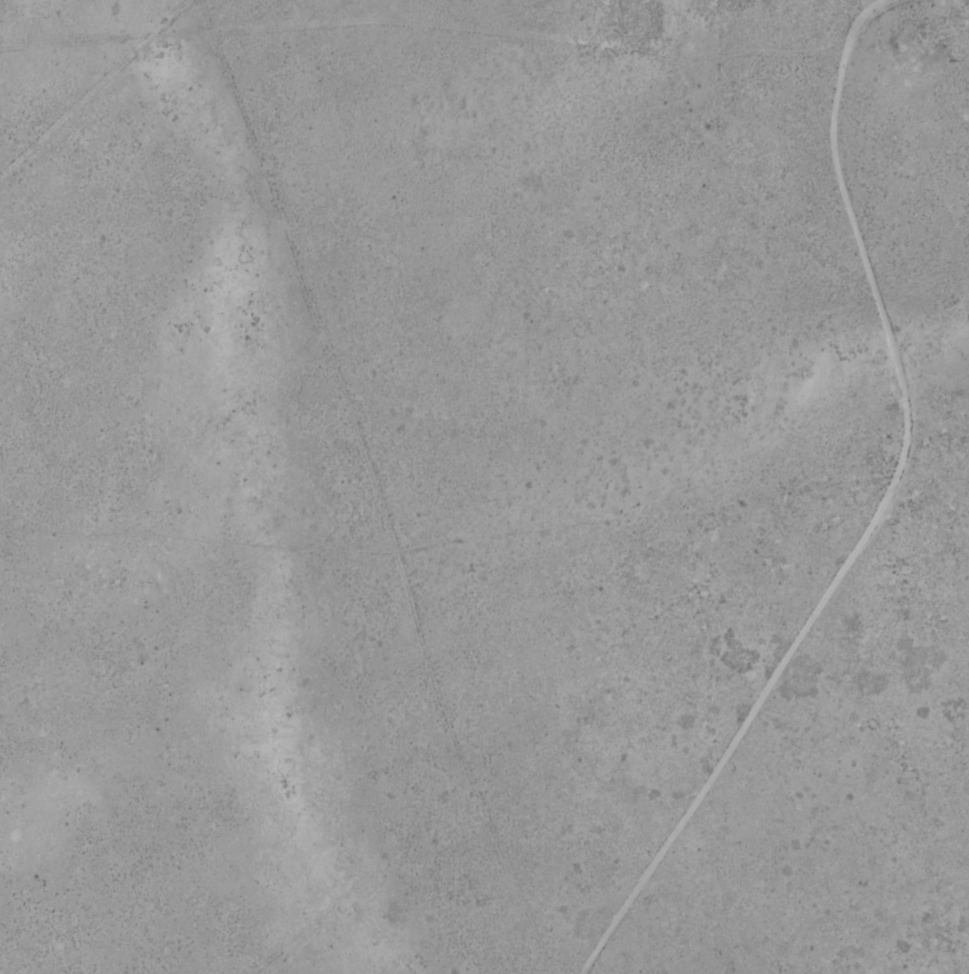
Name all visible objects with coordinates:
road: (316, 515)

